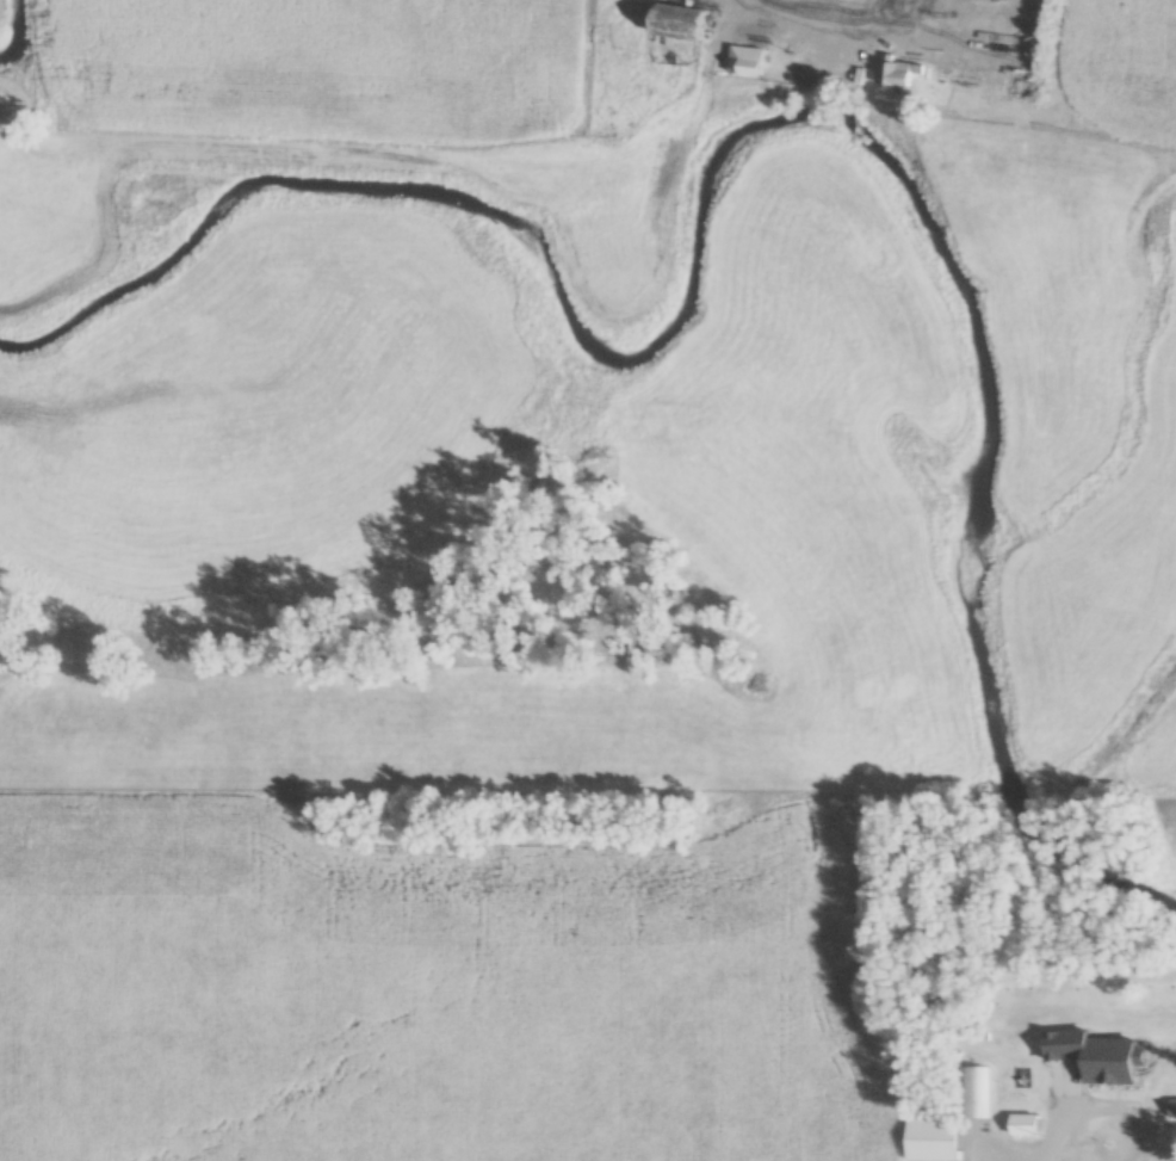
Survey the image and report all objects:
road: (804, 16)
building: (873, 20)
building: (685, 21)
building: (750, 61)
building: (897, 73)
building: (1110, 1054)
building: (1172, 1108)
building: (1027, 1125)
road: (1058, 1135)
building: (928, 1141)

